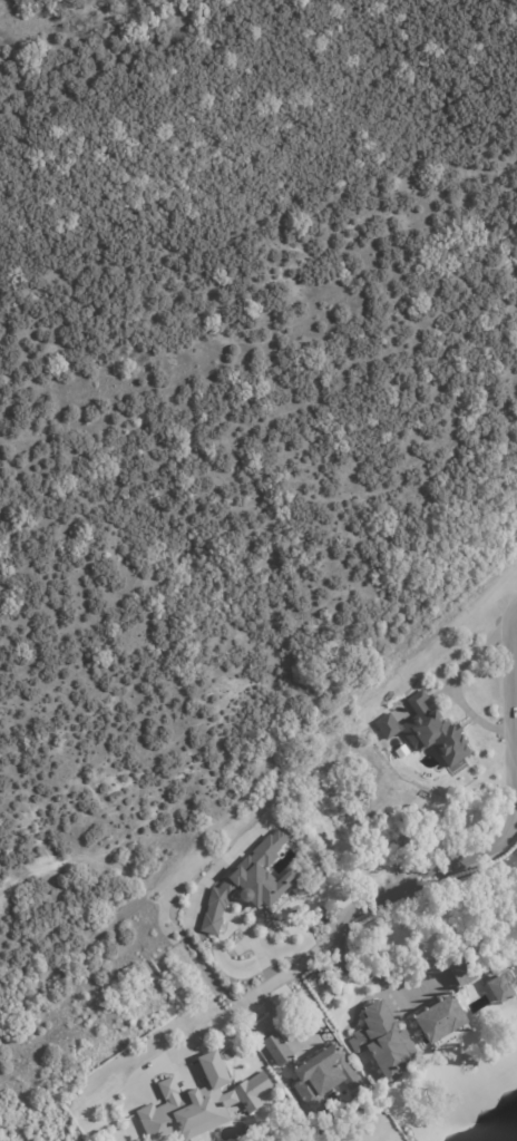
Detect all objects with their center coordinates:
road: (329, 726)
building: (426, 734)
road: (75, 857)
building: (251, 882)
road: (409, 885)
building: (460, 973)
road: (364, 979)
building: (498, 989)
building: (438, 1021)
building: (382, 1042)
building: (279, 1050)
building: (225, 1056)
building: (322, 1075)
building: (252, 1092)
building: (189, 1106)

